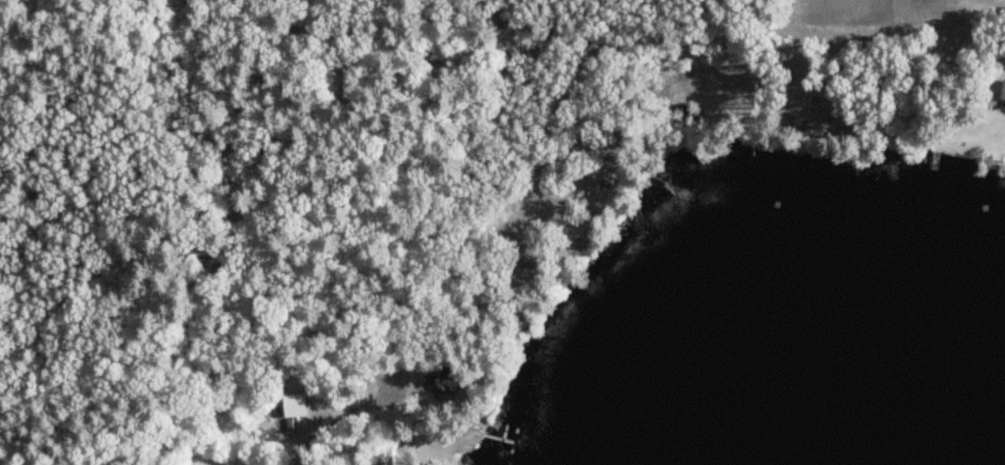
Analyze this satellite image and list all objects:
building: (1001, 92)
road: (295, 340)
road: (42, 366)
building: (300, 407)
road: (283, 460)

